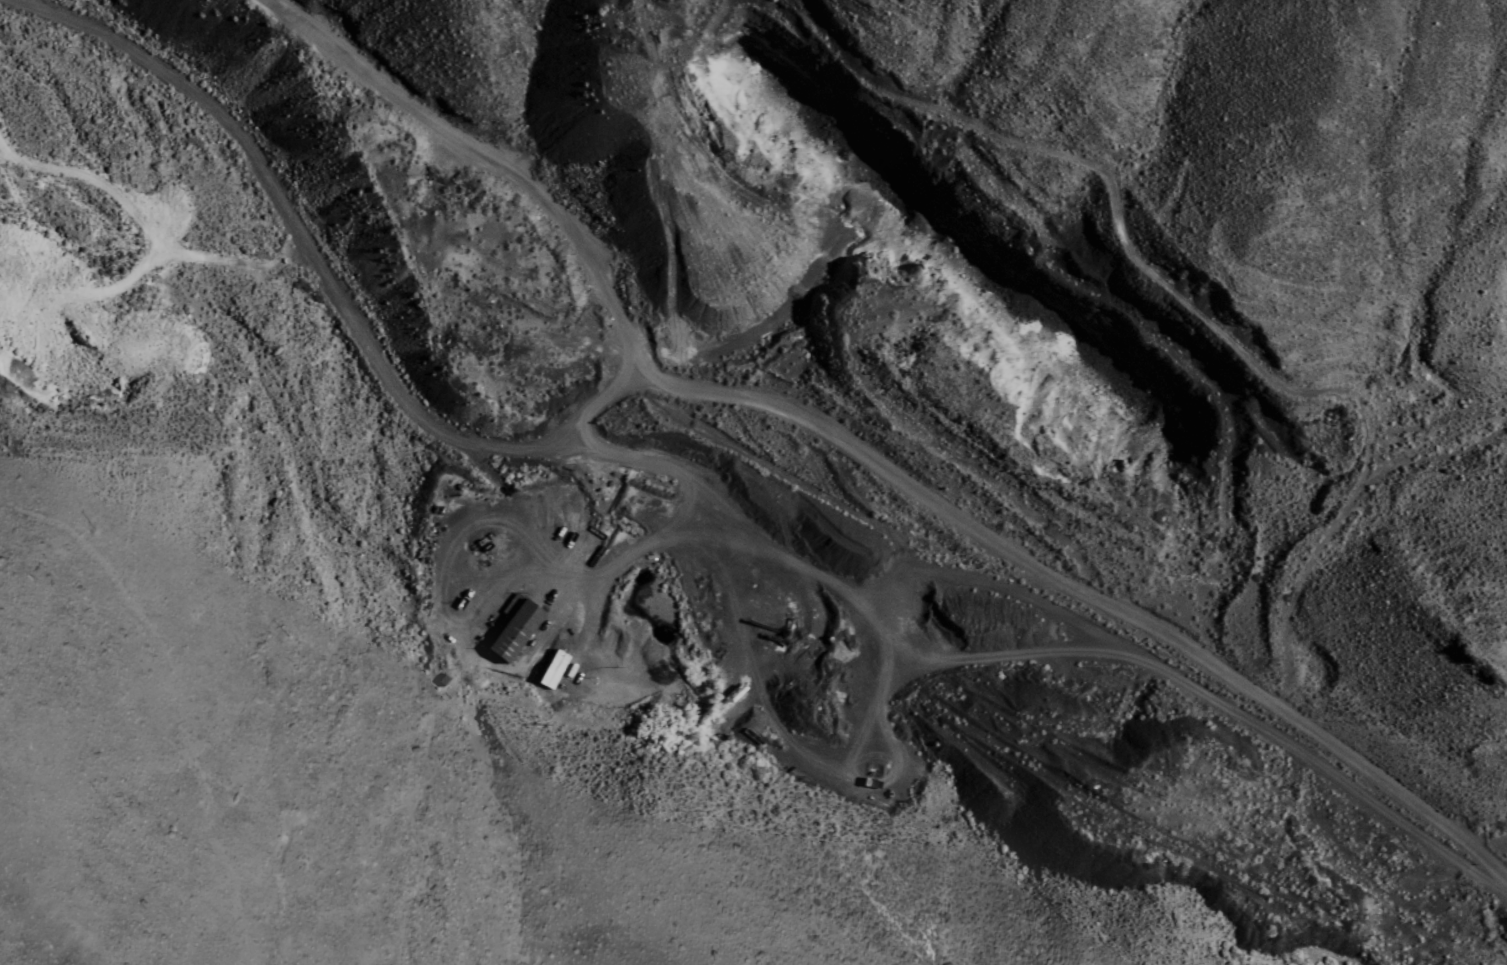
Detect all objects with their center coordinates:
road: (619, 317)
road: (725, 393)
quarry: (863, 504)
building: (515, 627)
road: (1490, 841)

